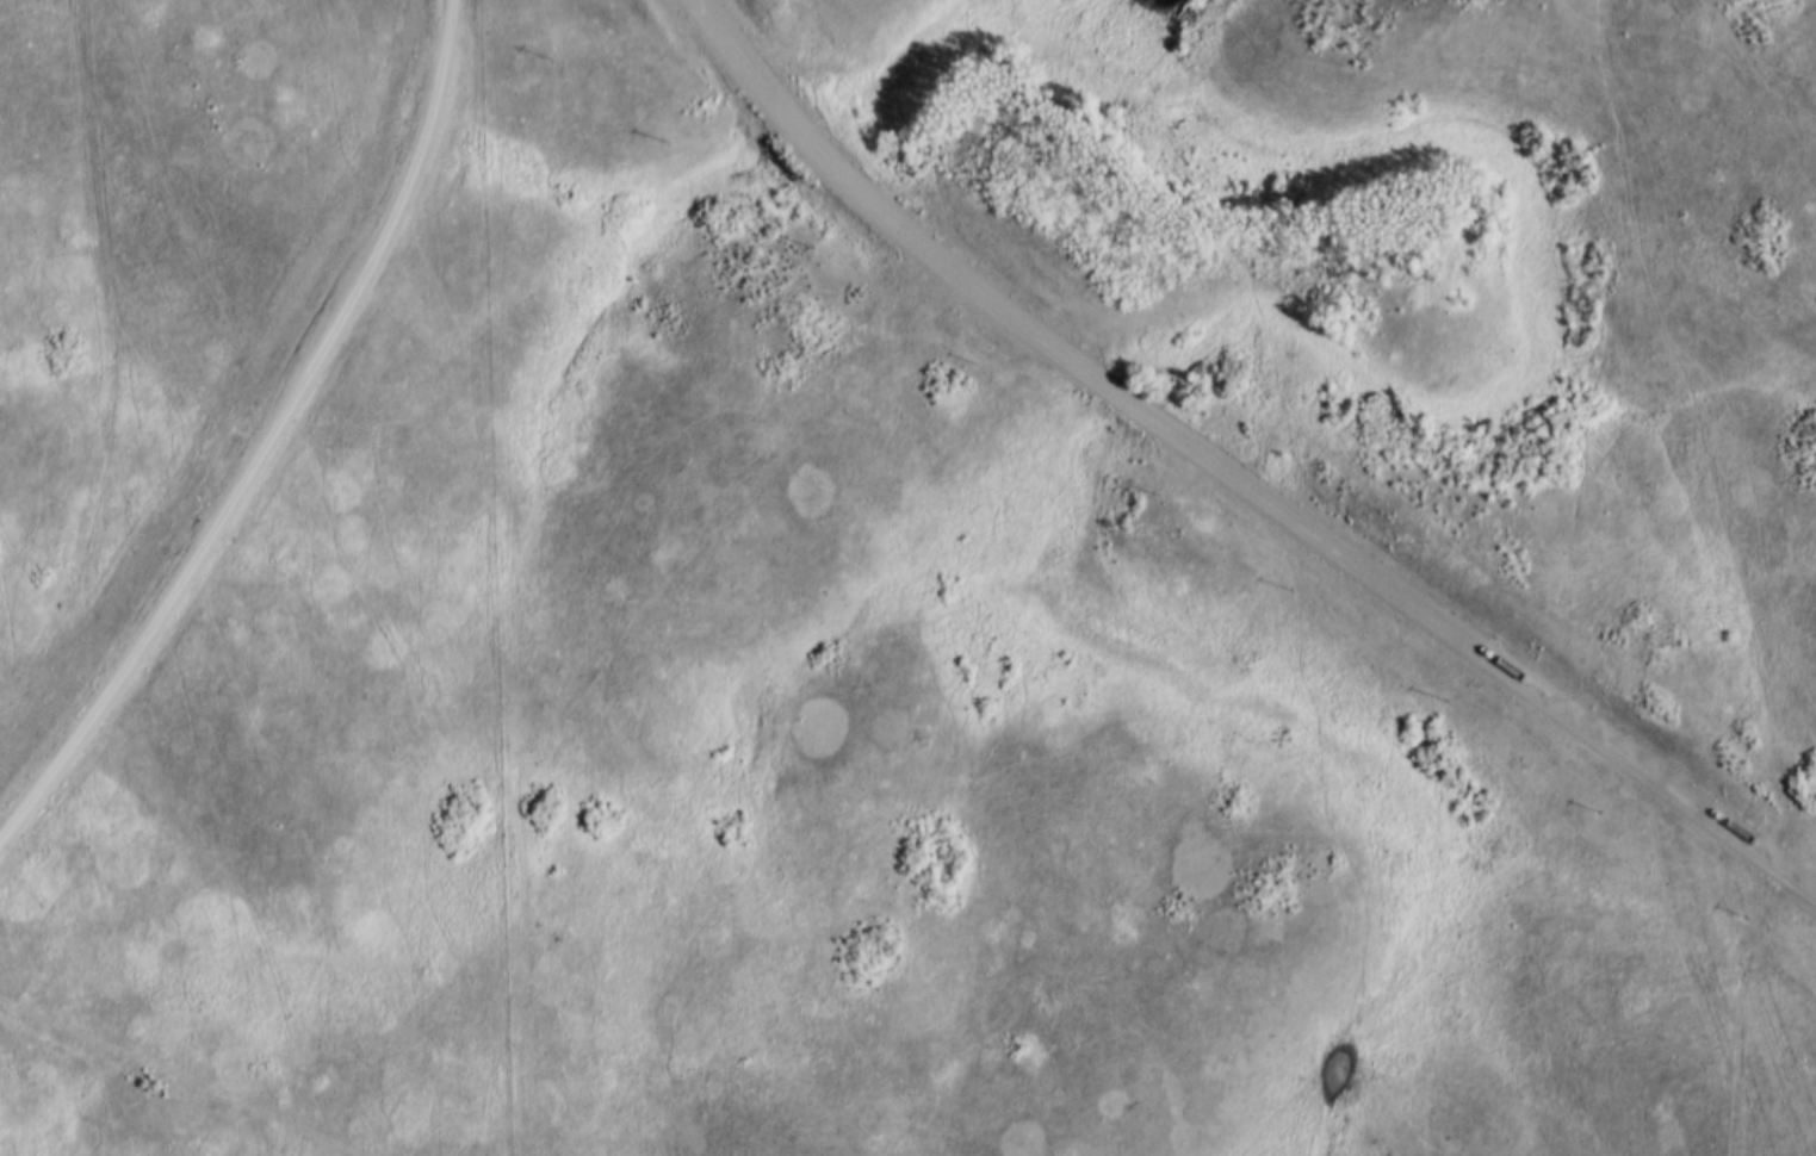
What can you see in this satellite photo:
road: (265, 431)
road: (1231, 477)

